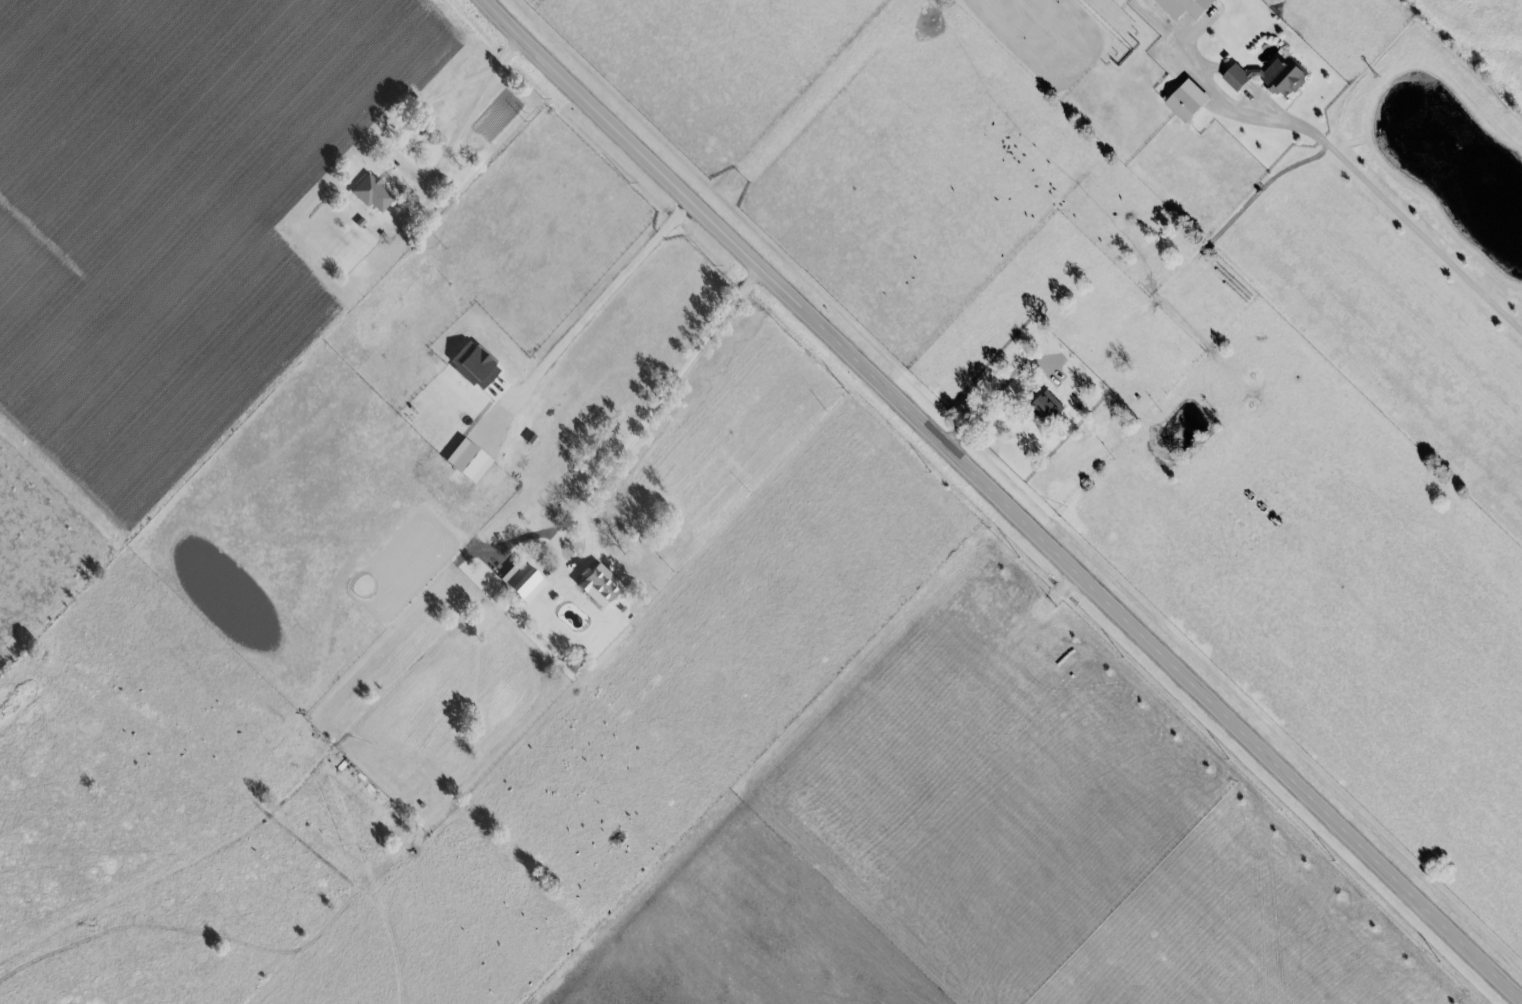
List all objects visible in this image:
building: (1188, 7)
building: (1273, 76)
building: (1189, 100)
road: (414, 171)
building: (373, 192)
road: (1405, 220)
road: (596, 303)
building: (476, 365)
road: (999, 395)
building: (1049, 404)
road: (626, 446)
building: (470, 459)
road: (999, 501)
building: (524, 579)
building: (601, 585)

